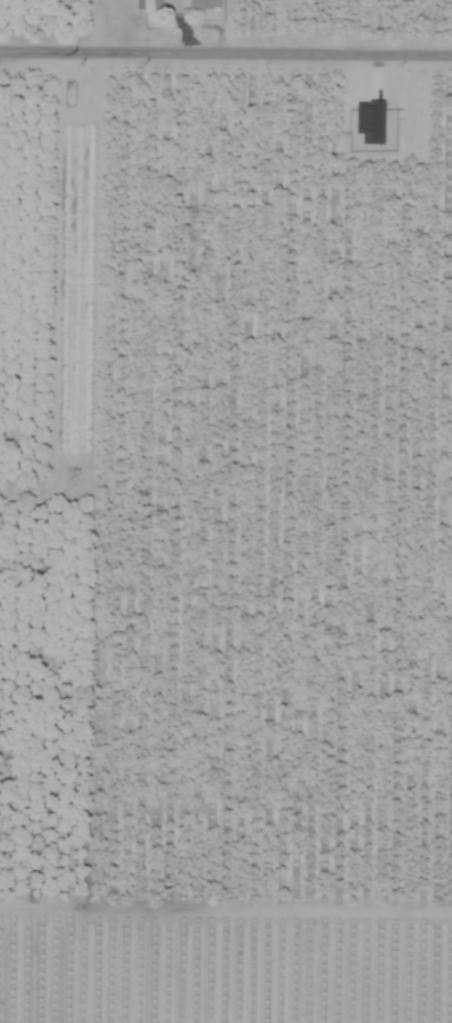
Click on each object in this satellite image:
building: (203, 4)
building: (147, 5)
road: (225, 49)
building: (369, 122)
crop: (226, 511)

